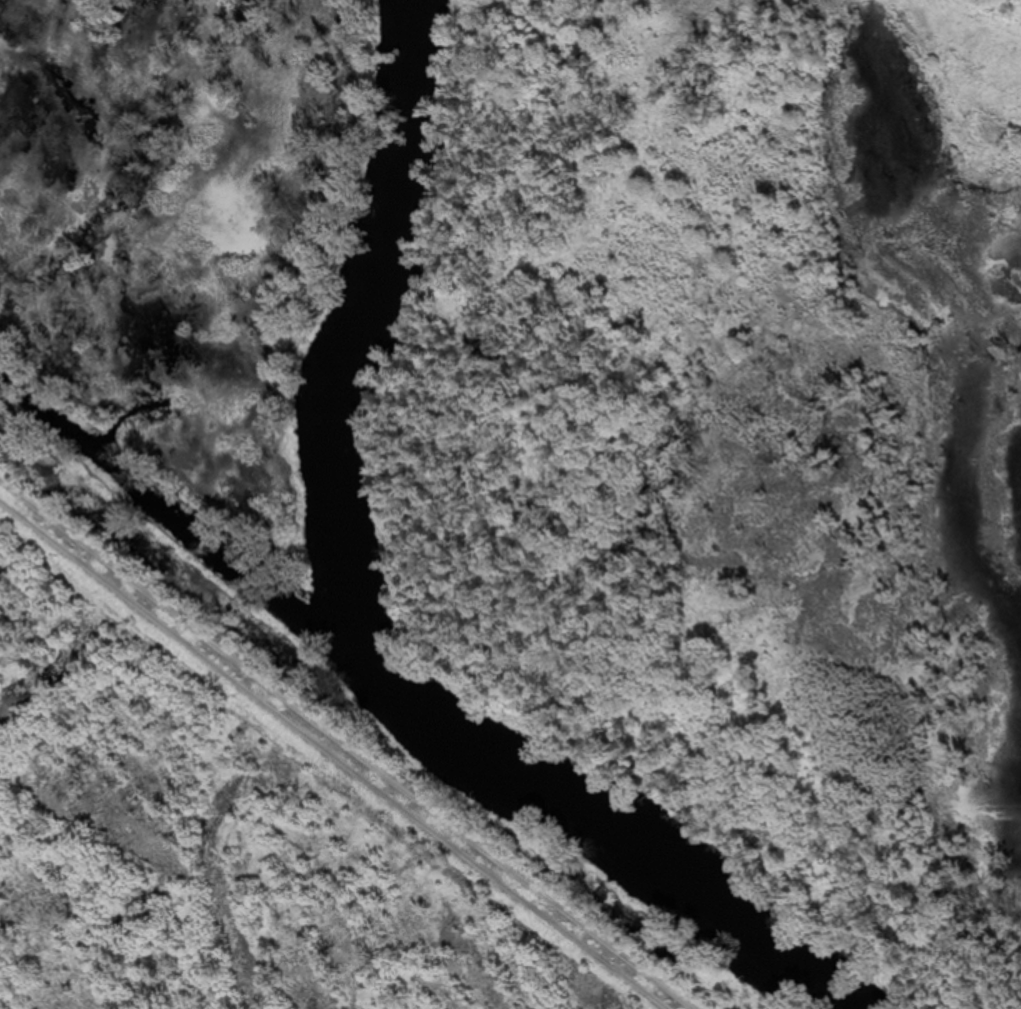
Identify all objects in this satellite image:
river: (400, 700)
road: (346, 751)

